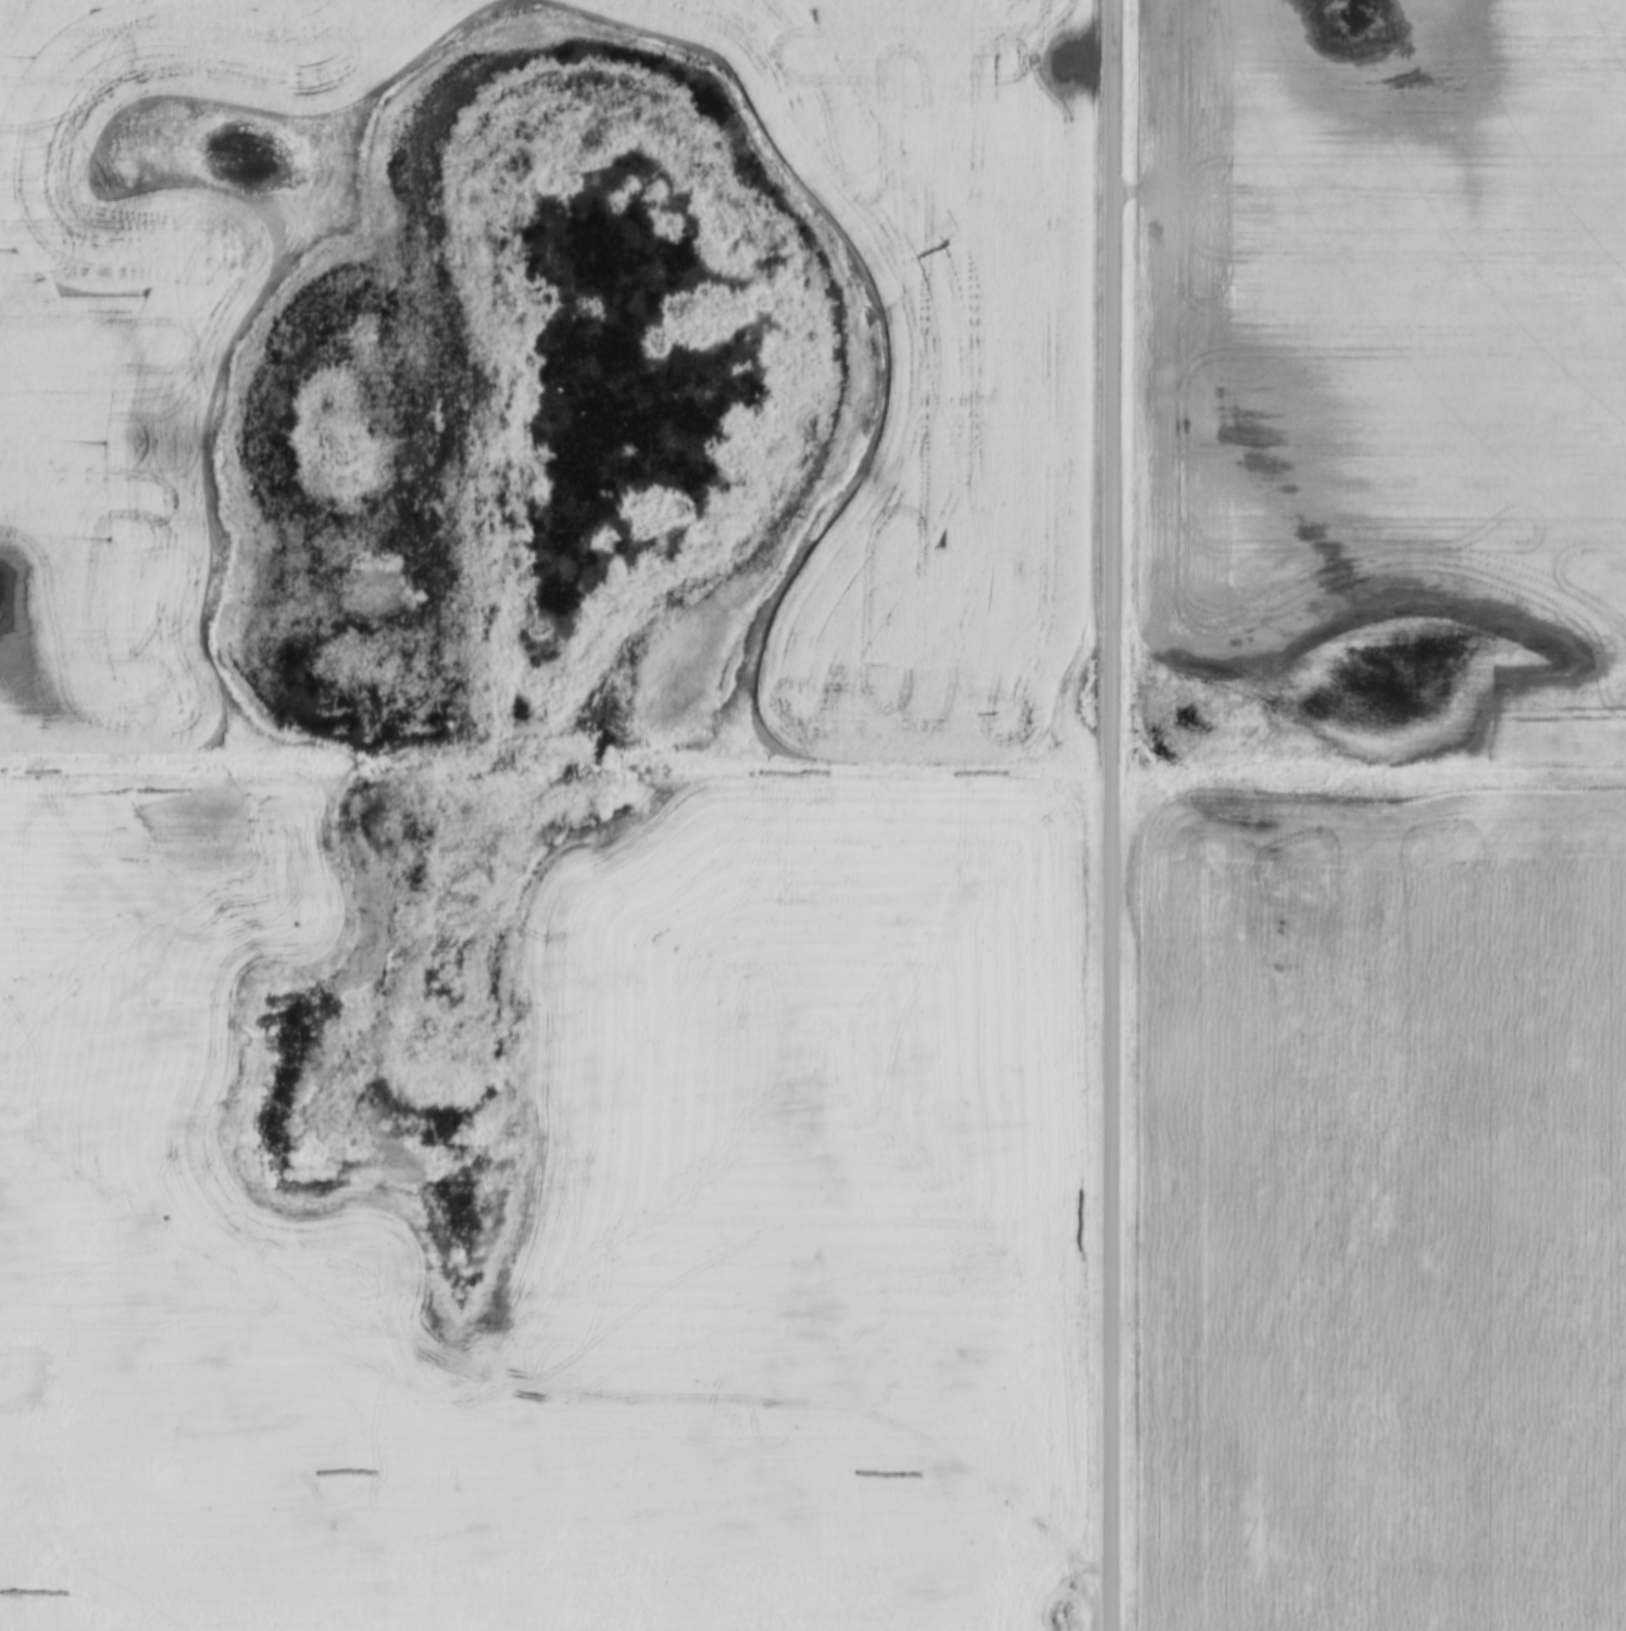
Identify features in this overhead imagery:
road: (1369, 790)
road: (1113, 815)

